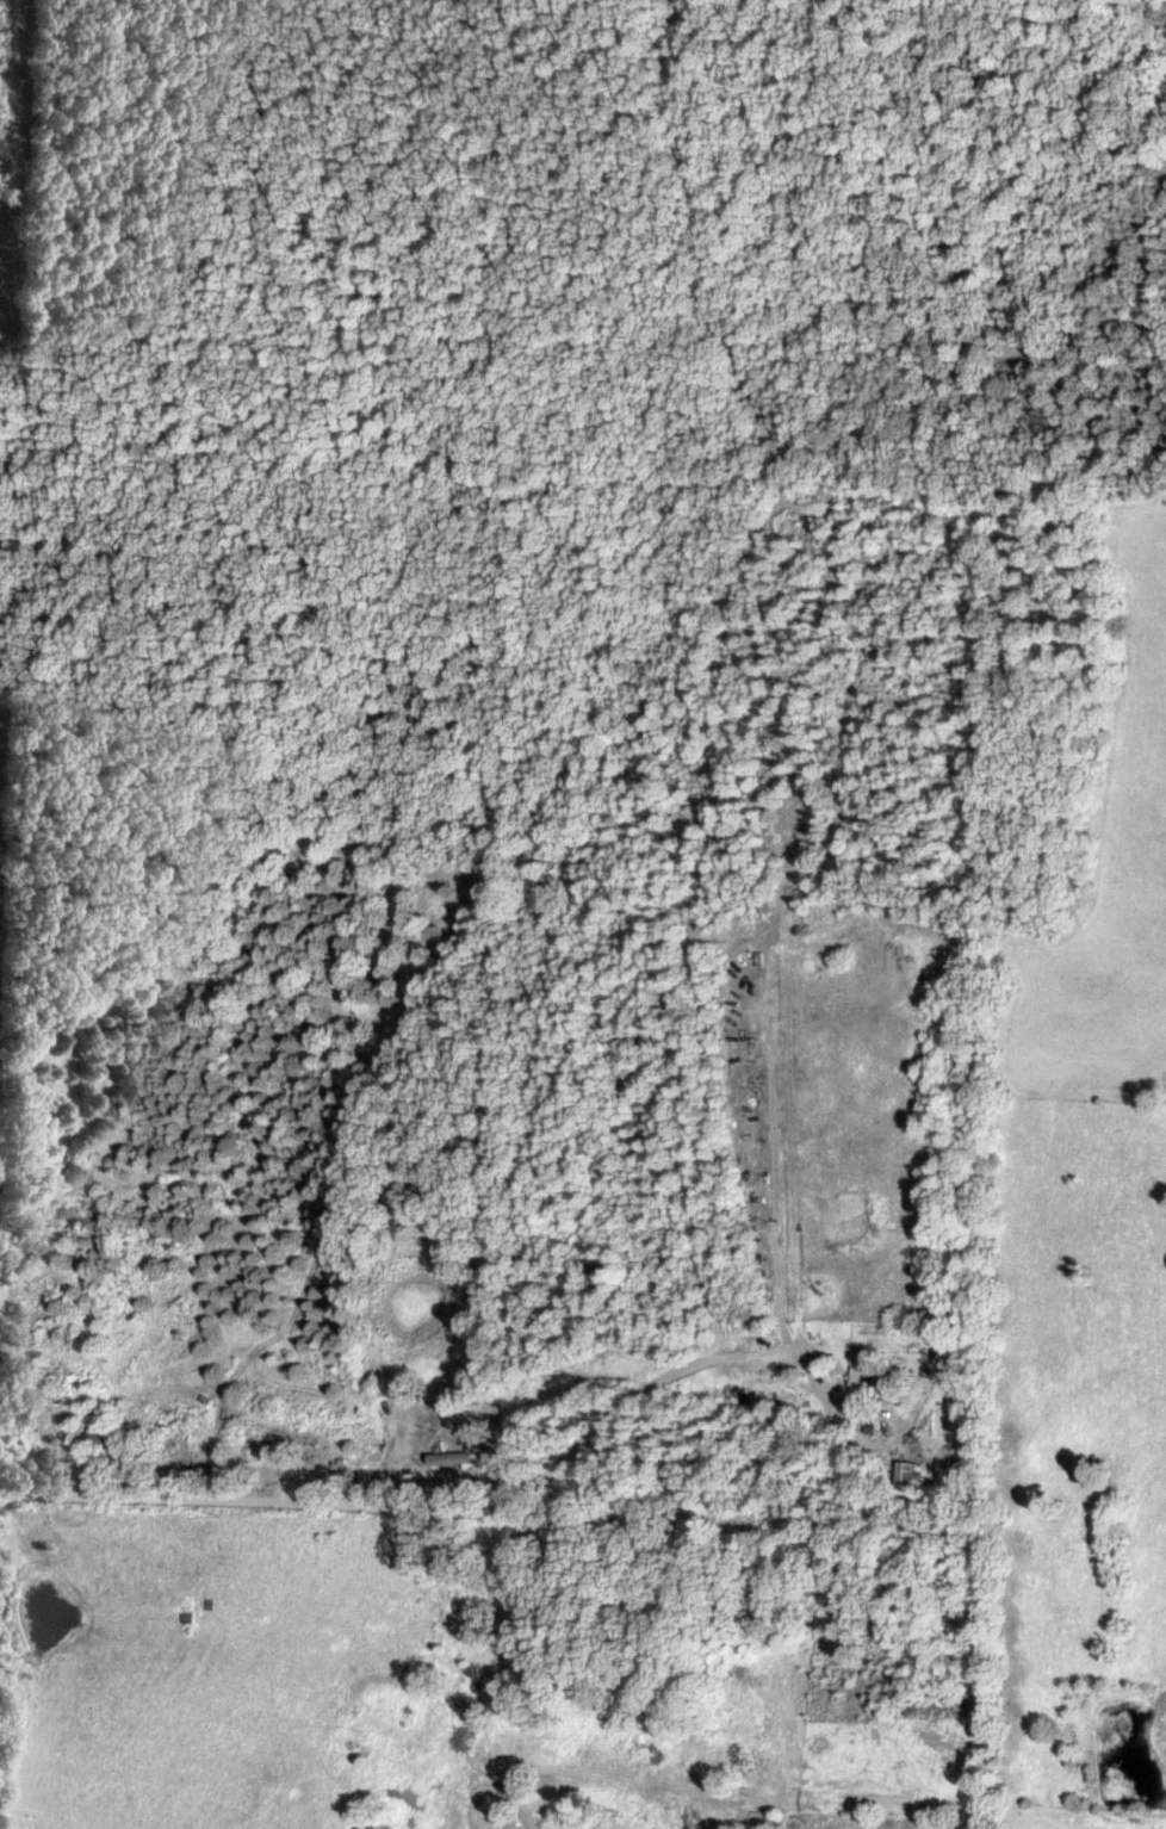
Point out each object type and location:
building: (876, 1382)

